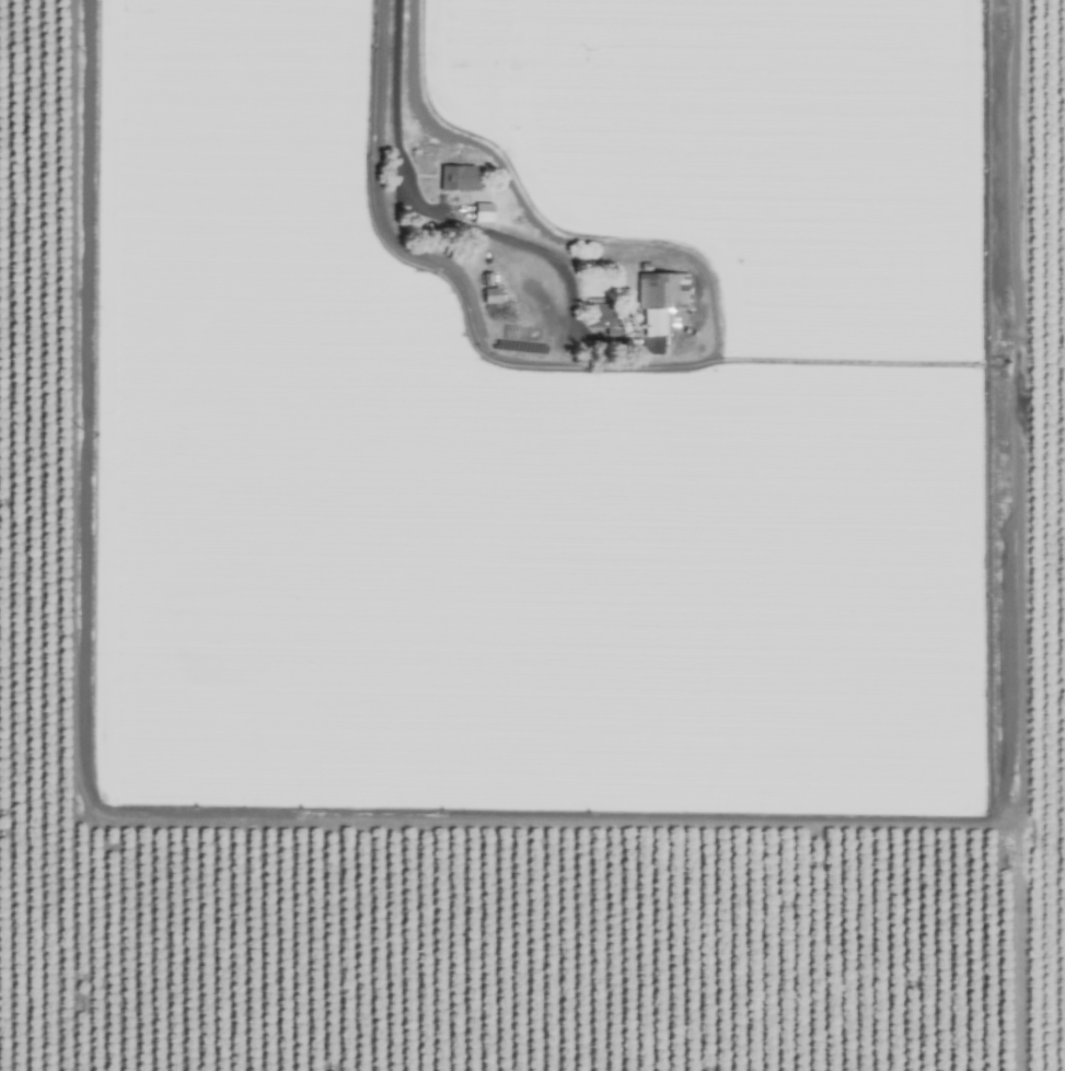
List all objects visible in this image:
road: (462, 225)
building: (597, 312)
road: (1019, 535)

